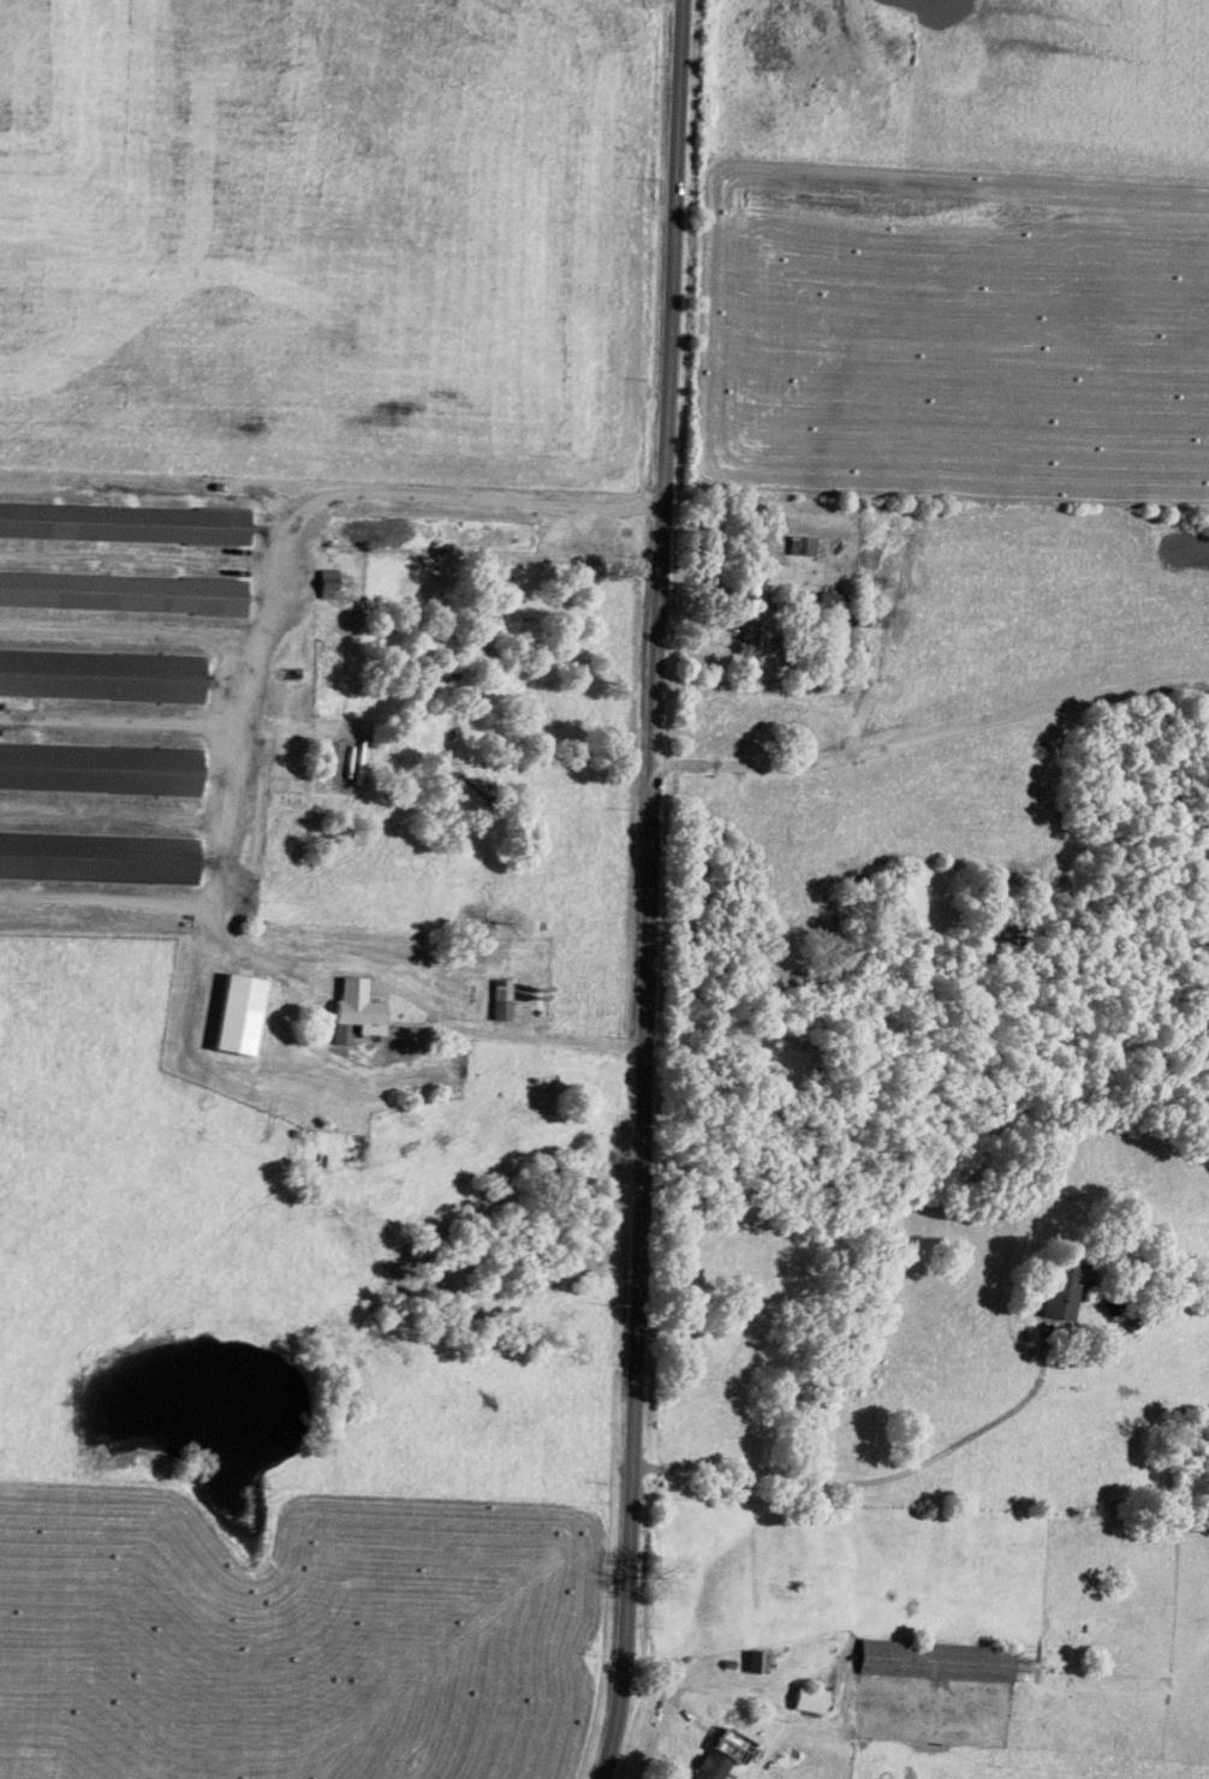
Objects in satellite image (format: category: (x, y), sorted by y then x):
road: (367, 495)
building: (123, 526)
building: (430, 537)
building: (803, 548)
building: (123, 595)
building: (832, 601)
building: (870, 621)
building: (758, 641)
building: (443, 648)
building: (101, 678)
road: (123, 724)
building: (100, 770)
road: (648, 889)
road: (193, 905)
building: (501, 1002)
building: (352, 1010)
building: (239, 1016)
road: (505, 1035)
building: (349, 1147)
building: (1062, 1292)
building: (937, 1664)
building: (810, 1702)
building: (713, 1766)

